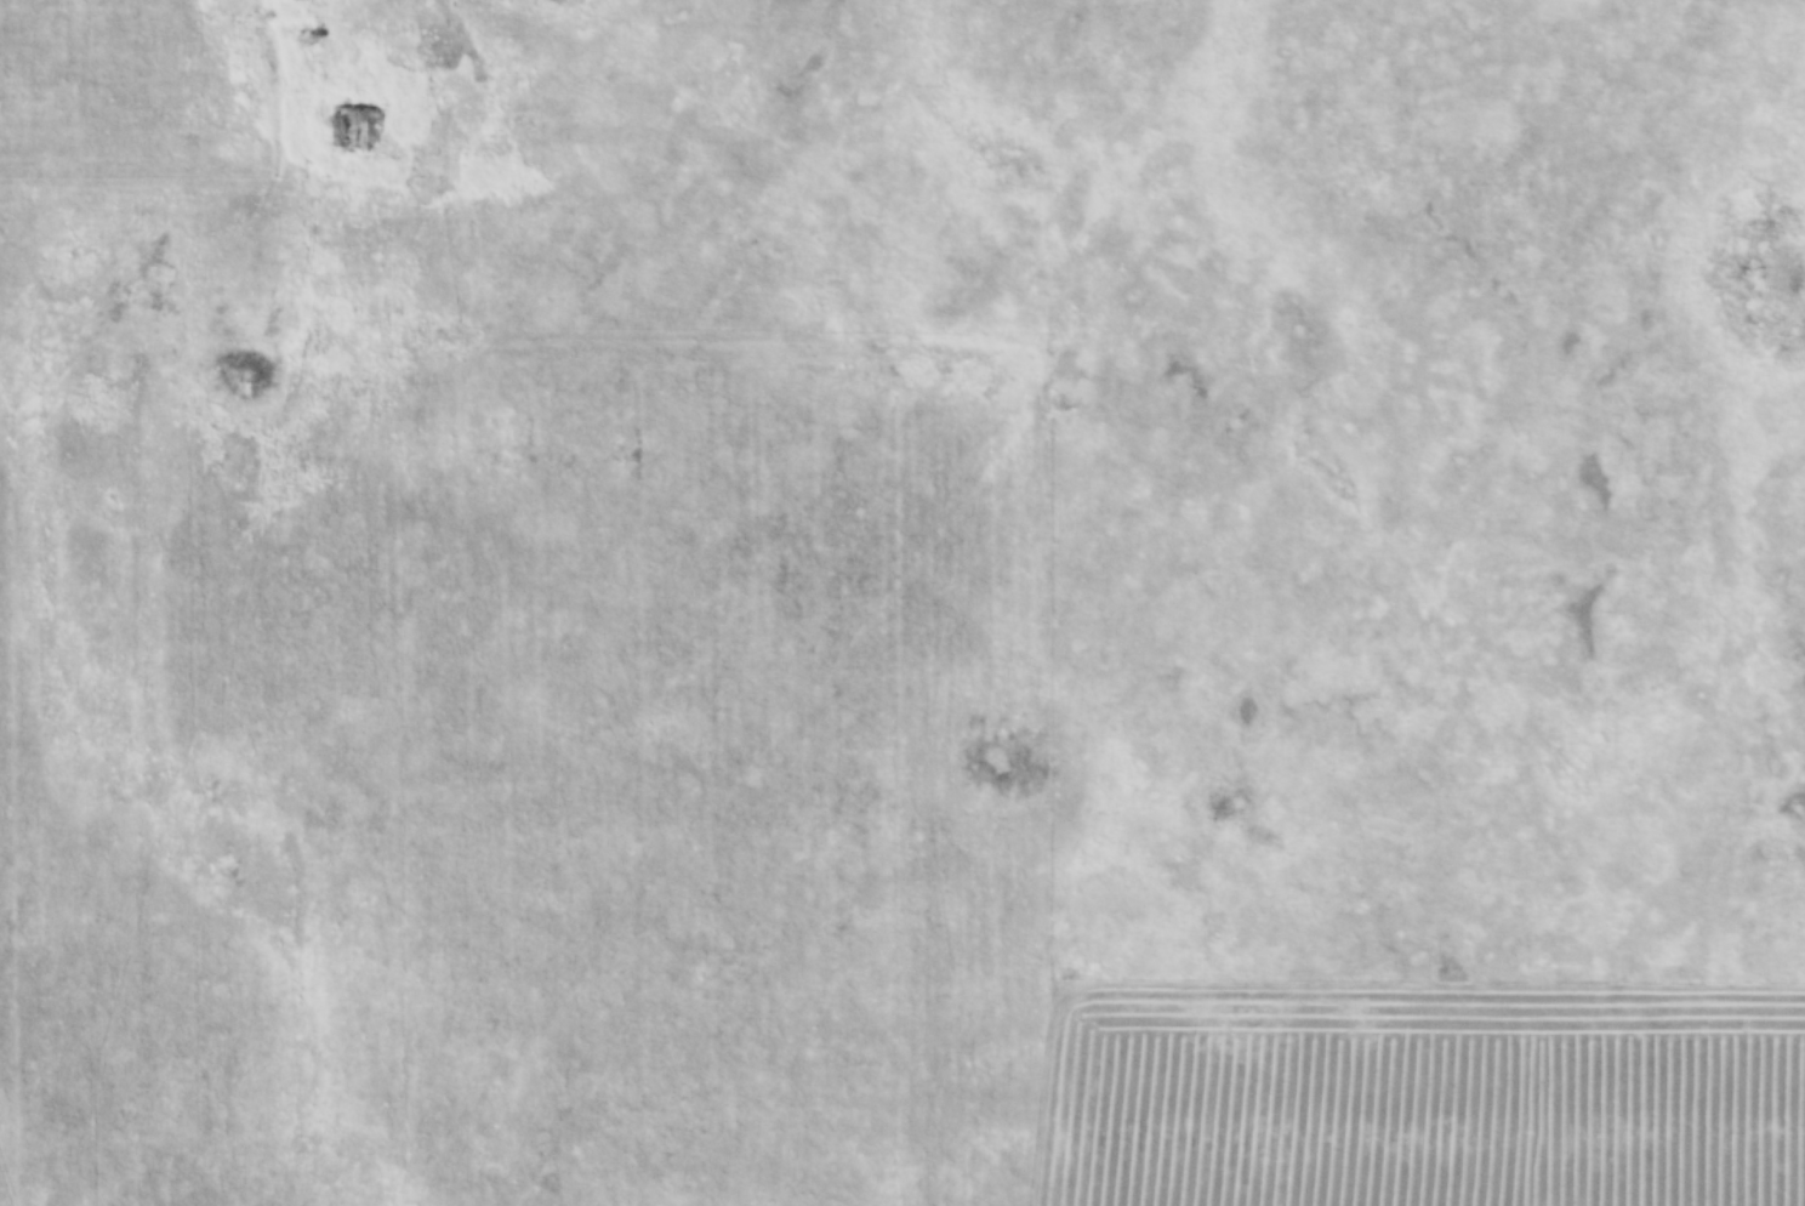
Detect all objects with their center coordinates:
building: (346, 126)

